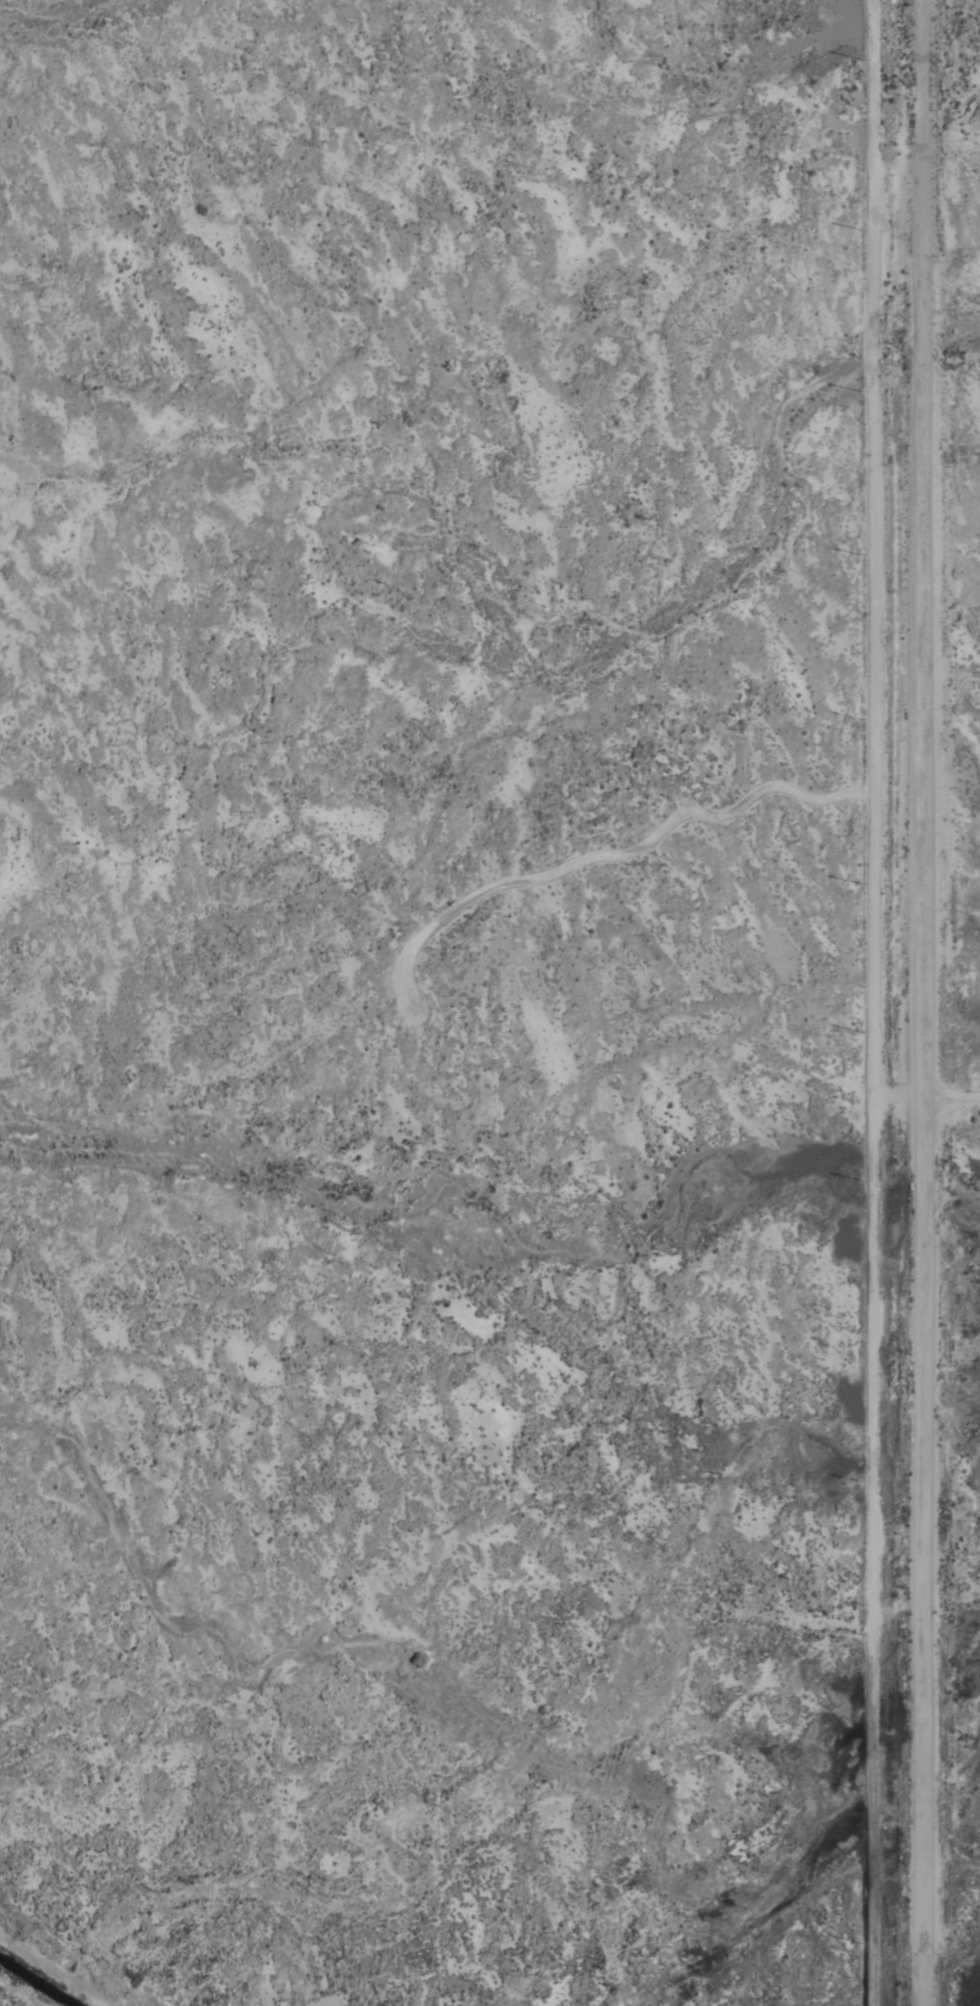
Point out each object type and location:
road: (874, 1002)
road: (922, 1002)

